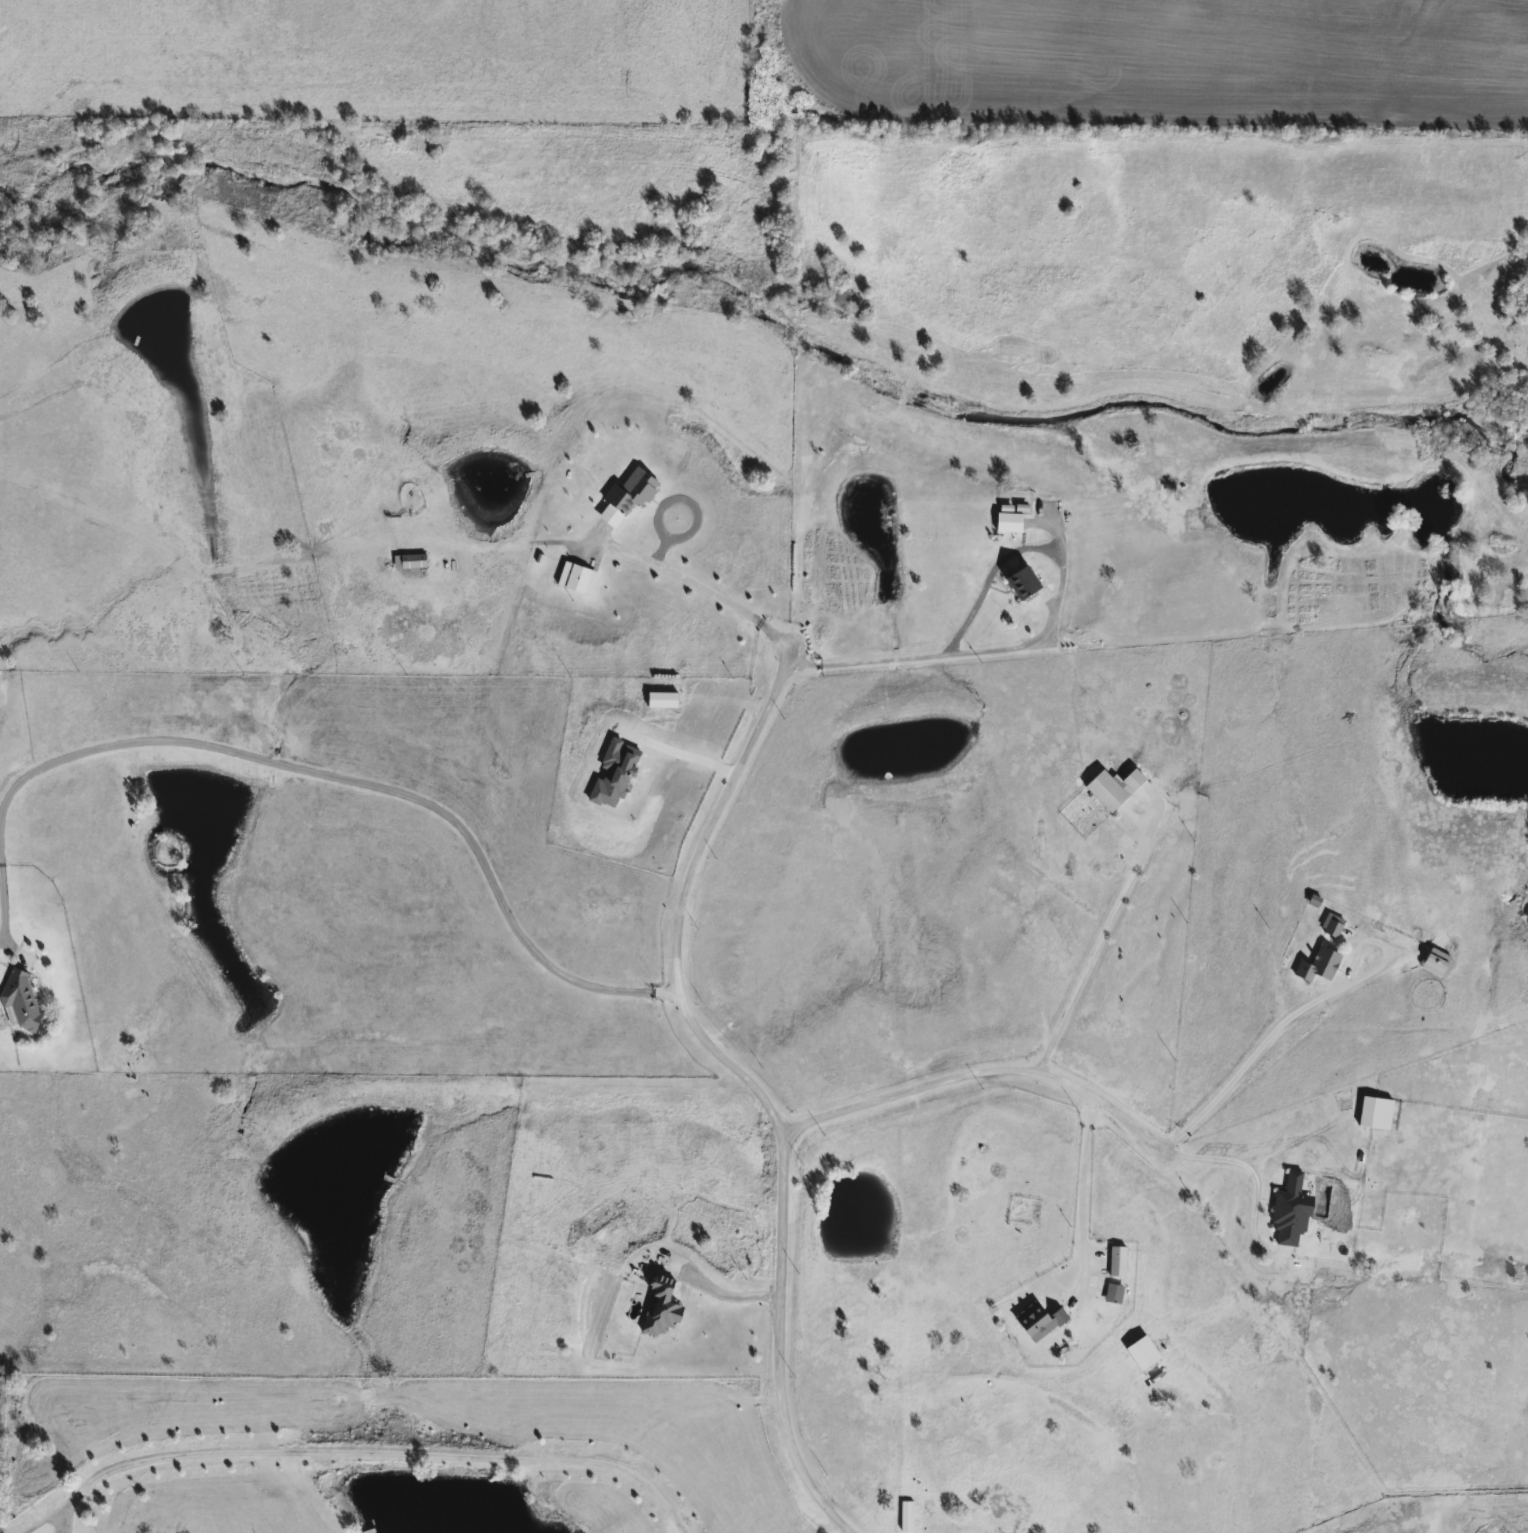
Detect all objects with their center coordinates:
building: (625, 495)
building: (1006, 522)
building: (407, 560)
building: (574, 577)
building: (1019, 581)
road: (715, 596)
road: (932, 658)
building: (660, 699)
road: (679, 754)
road: (311, 776)
building: (1111, 787)
building: (1330, 924)
road: (1095, 951)
building: (1434, 961)
building: (1316, 965)
building: (18, 1000)
road: (1297, 1016)
road: (987, 1074)
road: (753, 1086)
road: (1254, 1177)
road: (1081, 1200)
building: (1288, 1210)
building: (1115, 1260)
road: (718, 1292)
building: (1111, 1293)
building: (659, 1308)
building: (1034, 1321)
road: (373, 1450)
building: (904, 1515)
road: (32, 1520)

